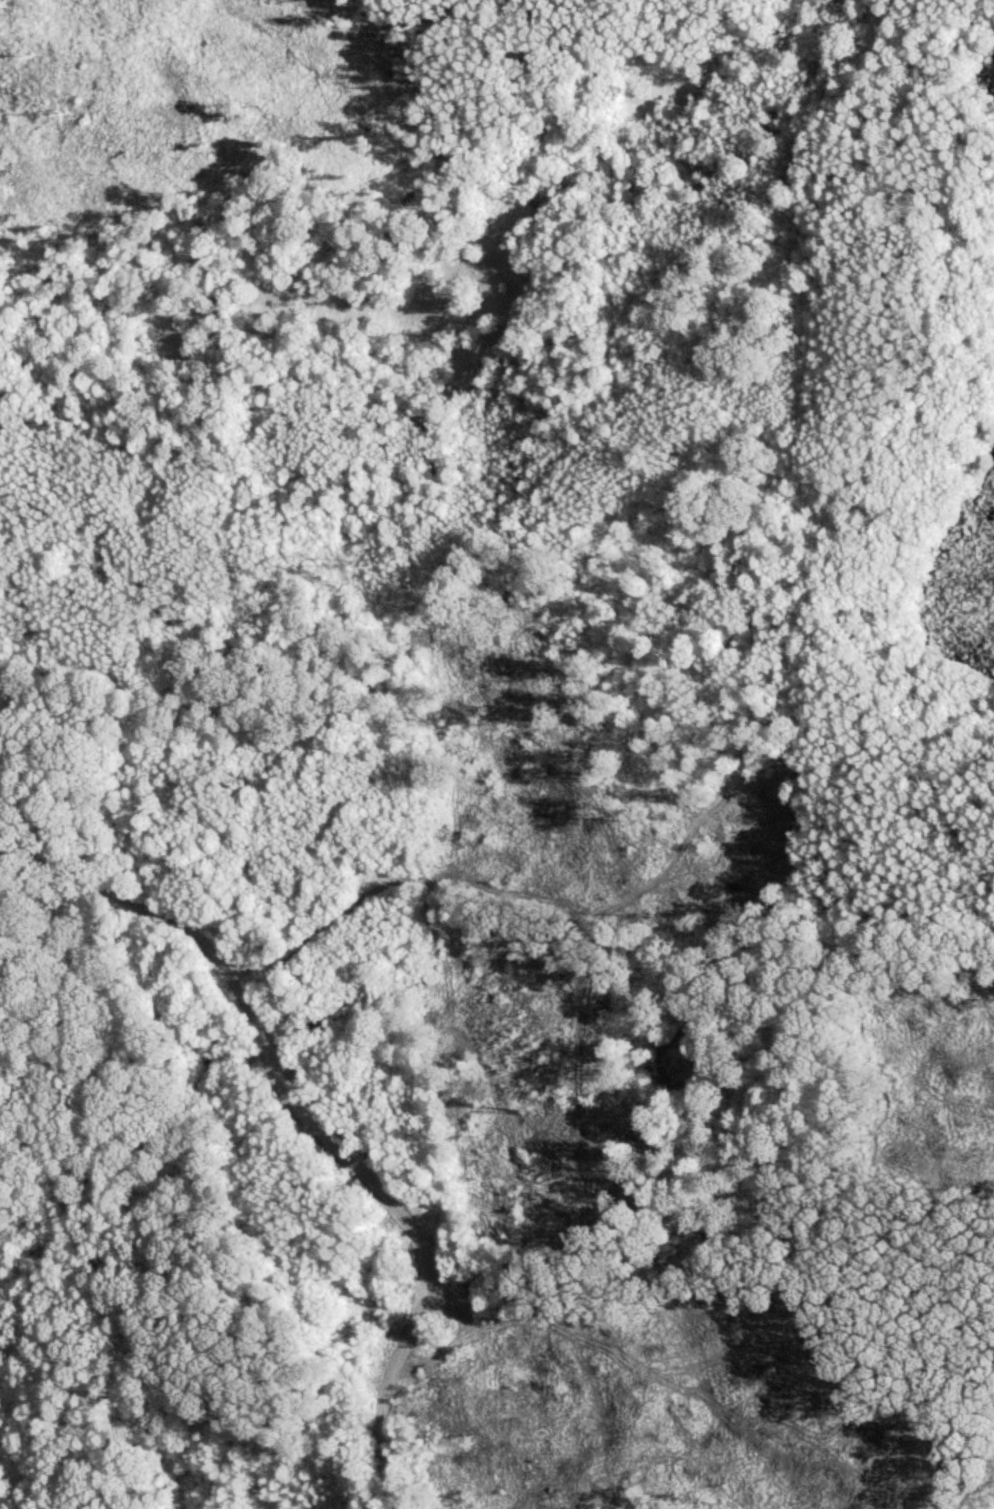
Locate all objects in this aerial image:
road: (683, 862)
road: (315, 1124)
road: (991, 1501)

